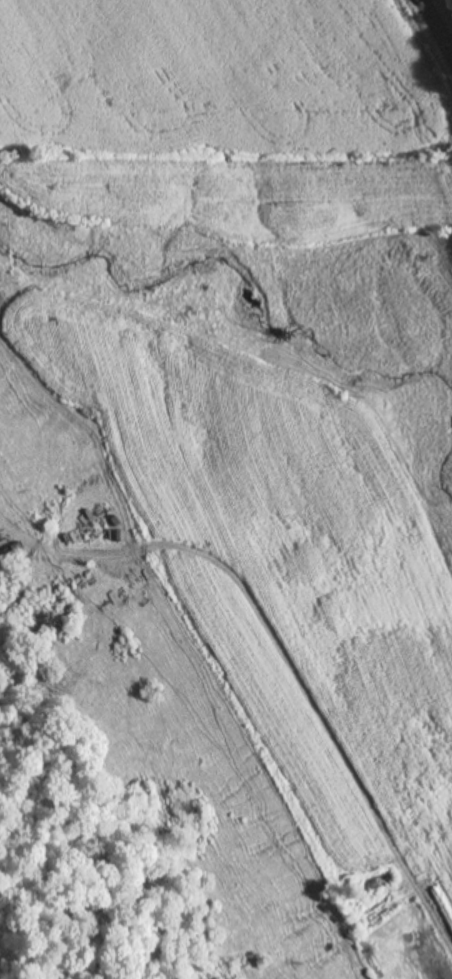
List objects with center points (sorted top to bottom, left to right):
road: (435, 29)

